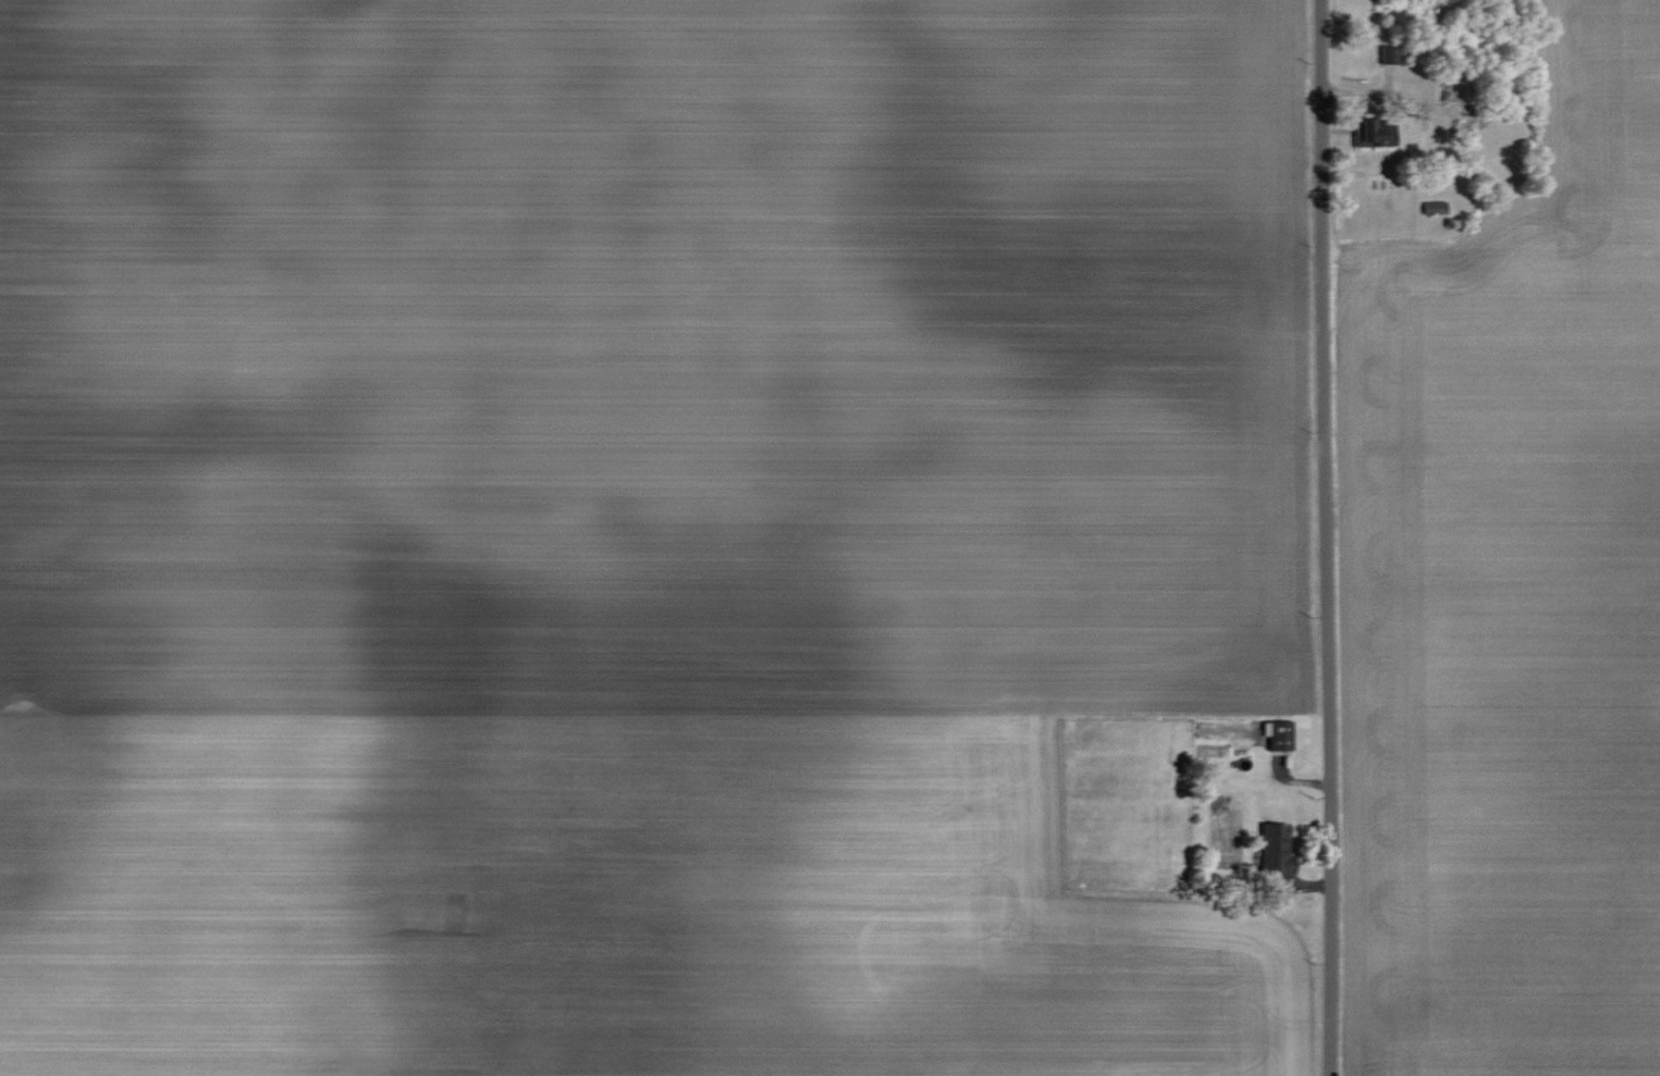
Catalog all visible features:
road: (1315, 537)
building: (1270, 848)

